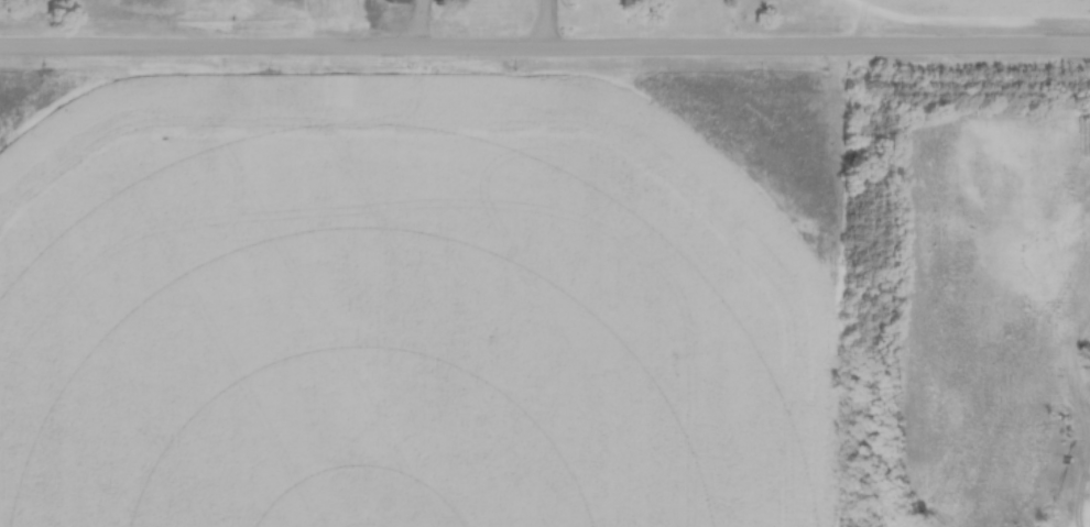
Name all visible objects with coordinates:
building: (394, 1)
road: (422, 26)
road: (544, 26)
road: (545, 53)

